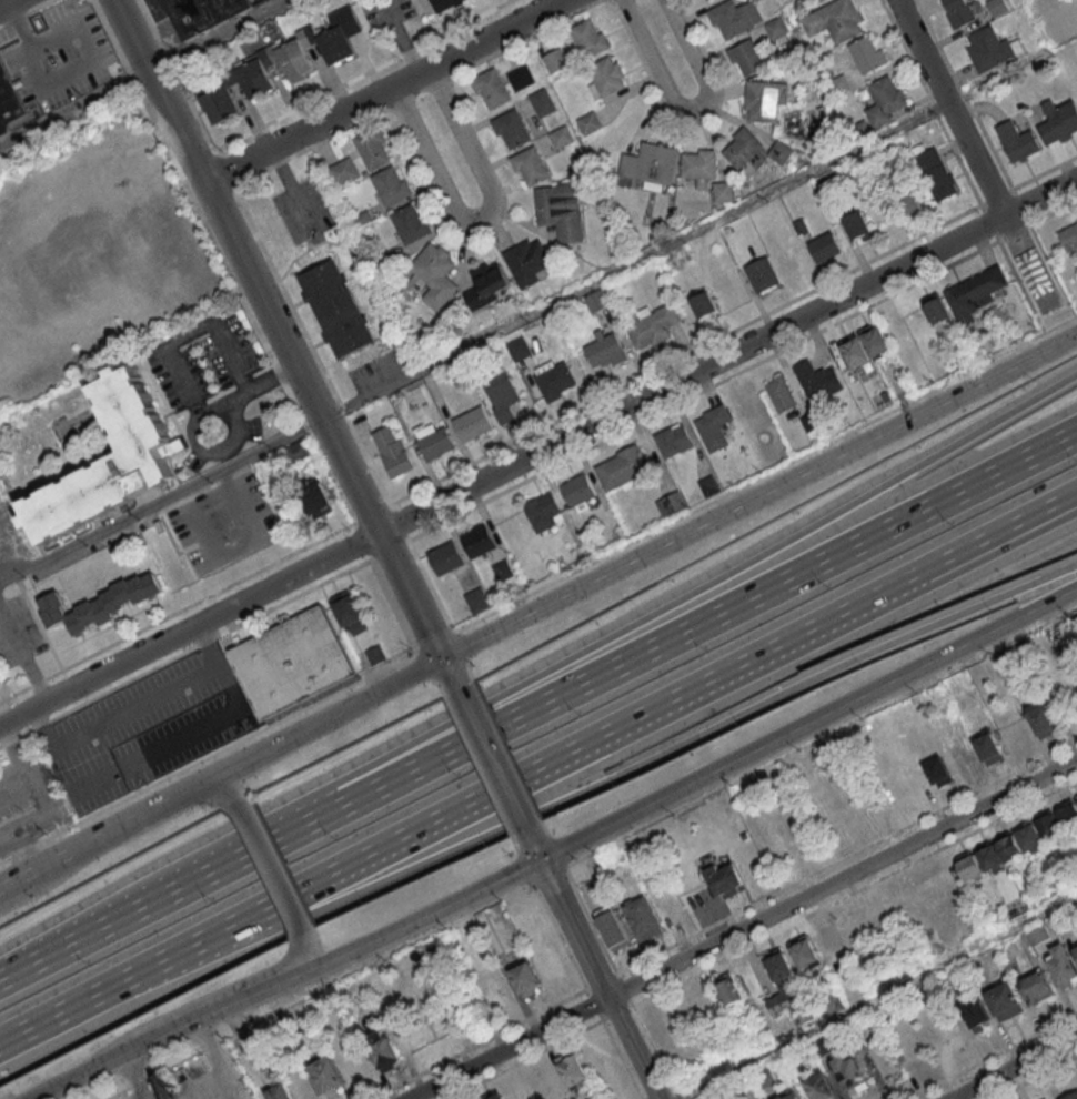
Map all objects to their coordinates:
building: (816, 0)
road: (4, 2)
building: (443, 3)
building: (997, 7)
building: (957, 12)
building: (201, 13)
building: (735, 17)
building: (839, 20)
park: (1057, 20)
building: (776, 29)
road: (218, 36)
building: (590, 37)
building: (990, 49)
building: (300, 52)
building: (867, 53)
building: (747, 58)
building: (557, 60)
building: (608, 74)
building: (524, 78)
building: (838, 85)
building: (493, 87)
road: (384, 91)
building: (888, 94)
building: (765, 100)
building: (219, 101)
building: (544, 102)
building: (9, 104)
road: (73, 108)
road: (691, 110)
building: (1058, 121)
building: (591, 123)
road: (958, 124)
building: (514, 128)
building: (563, 137)
building: (1018, 141)
building: (374, 147)
building: (744, 152)
building: (650, 163)
building: (532, 164)
building: (698, 168)
building: (342, 171)
building: (936, 173)
building: (393, 184)
road: (79, 185)
road: (290, 188)
building: (722, 192)
building: (910, 203)
building: (562, 210)
road: (482, 216)
building: (412, 223)
building: (858, 225)
building: (1069, 236)
building: (826, 245)
building: (678, 256)
building: (529, 261)
building: (437, 273)
building: (763, 273)
building: (1034, 273)
building: (487, 284)
building: (975, 293)
building: (596, 300)
building: (703, 304)
building: (336, 307)
building: (936, 307)
road: (254, 324)
building: (655, 325)
road: (276, 329)
road: (191, 335)
road: (473, 341)
building: (865, 345)
building: (605, 352)
parking lot: (201, 355)
building: (557, 380)
building: (817, 380)
road: (259, 383)
building: (779, 393)
building: (502, 395)
road: (227, 405)
building: (474, 423)
building: (714, 425)
road: (241, 428)
parking lot: (252, 428)
building: (675, 438)
building: (437, 443)
building: (298, 451)
building: (395, 451)
road: (537, 451)
road: (199, 452)
parking lot: (192, 461)
building: (110, 462)
building: (624, 467)
building: (708, 485)
building: (580, 488)
building: (315, 498)
building: (671, 504)
building: (543, 512)
parking lot: (223, 523)
building: (160, 525)
road: (999, 533)
road: (169, 536)
road: (999, 537)
building: (480, 540)
road: (12, 542)
road: (6, 543)
road: (636, 555)
building: (446, 556)
building: (503, 569)
building: (150, 585)
building: (137, 588)
building: (123, 591)
building: (475, 598)
building: (52, 601)
building: (113, 601)
building: (102, 609)
road: (175, 611)
street lamp: (997, 611)
building: (350, 612)
building: (88, 613)
building: (56, 615)
road: (634, 619)
building: (76, 622)
parking lot: (17, 631)
road: (43, 631)
road: (184, 651)
road: (22, 654)
building: (375, 654)
road: (213, 655)
building: (291, 661)
street lamp: (867, 666)
road: (451, 672)
road: (537, 705)
street lamp: (426, 712)
road: (114, 717)
building: (1045, 718)
street lamp: (744, 725)
parking lot: (122, 726)
parking lot: (183, 735)
building: (990, 748)
road: (208, 755)
road: (495, 758)
building: (940, 772)
road: (517, 779)
road: (597, 782)
street lamp: (620, 786)
road: (688, 786)
road: (72, 787)
road: (218, 792)
road: (183, 795)
road: (13, 797)
building: (1076, 797)
parking lot: (28, 800)
road: (121, 828)
building: (1019, 843)
street lamp: (491, 845)
road: (53, 864)
road: (271, 866)
building: (727, 878)
road: (845, 880)
road: (17, 883)
street lamp: (368, 903)
road: (571, 914)
building: (645, 918)
building: (614, 927)
building: (828, 941)
building: (1075, 949)
building: (806, 951)
road: (304, 952)
building: (552, 964)
building: (1064, 965)
building: (529, 978)
building: (1037, 987)
building: (789, 988)
building: (729, 989)
road: (315, 991)
building: (496, 994)
road: (879, 998)
building: (1008, 1000)
road: (225, 1008)
road: (57, 1014)
building: (978, 1014)
road: (510, 1048)
road: (637, 1048)
building: (384, 1049)
building: (356, 1065)
road: (1015, 1067)
building: (574, 1068)
road: (94, 1069)
building: (853, 1073)
building: (329, 1075)
building: (823, 1087)
building: (293, 1089)
building: (500, 1096)
building: (789, 1096)
building: (1073, 1097)
building: (1049, 1098)

